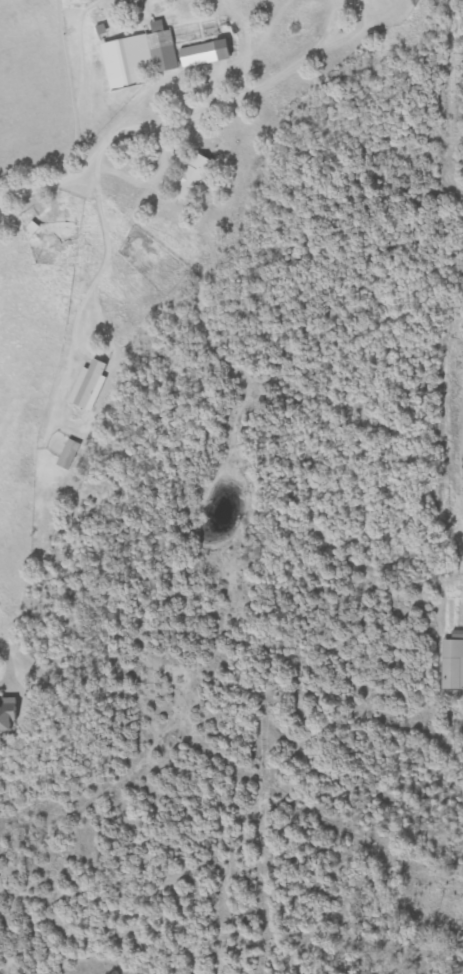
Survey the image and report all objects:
building: (162, 48)
building: (208, 53)
road: (161, 165)
road: (49, 178)
building: (85, 389)
building: (69, 454)
building: (453, 664)
building: (13, 715)

